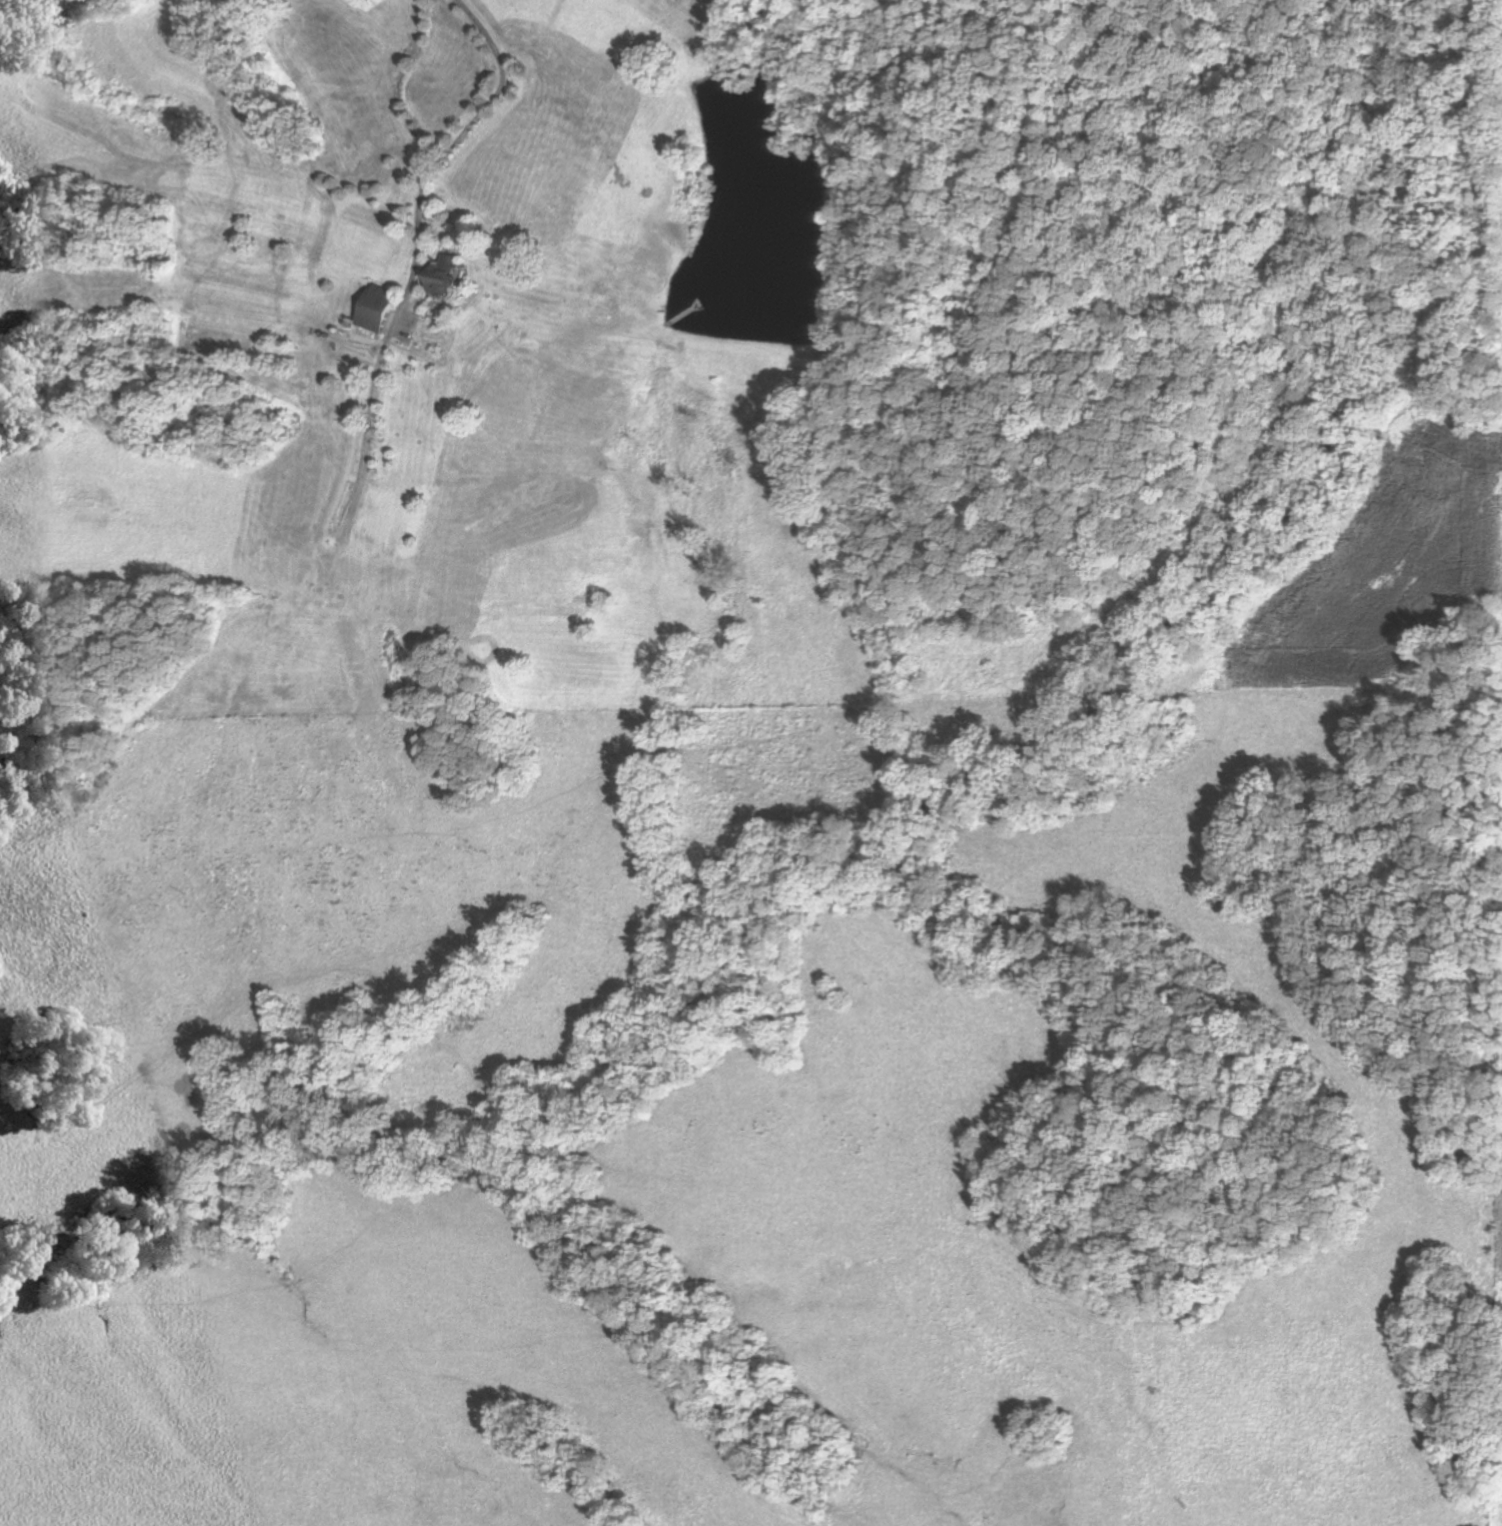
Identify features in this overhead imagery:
building: (438, 276)
building: (370, 308)

